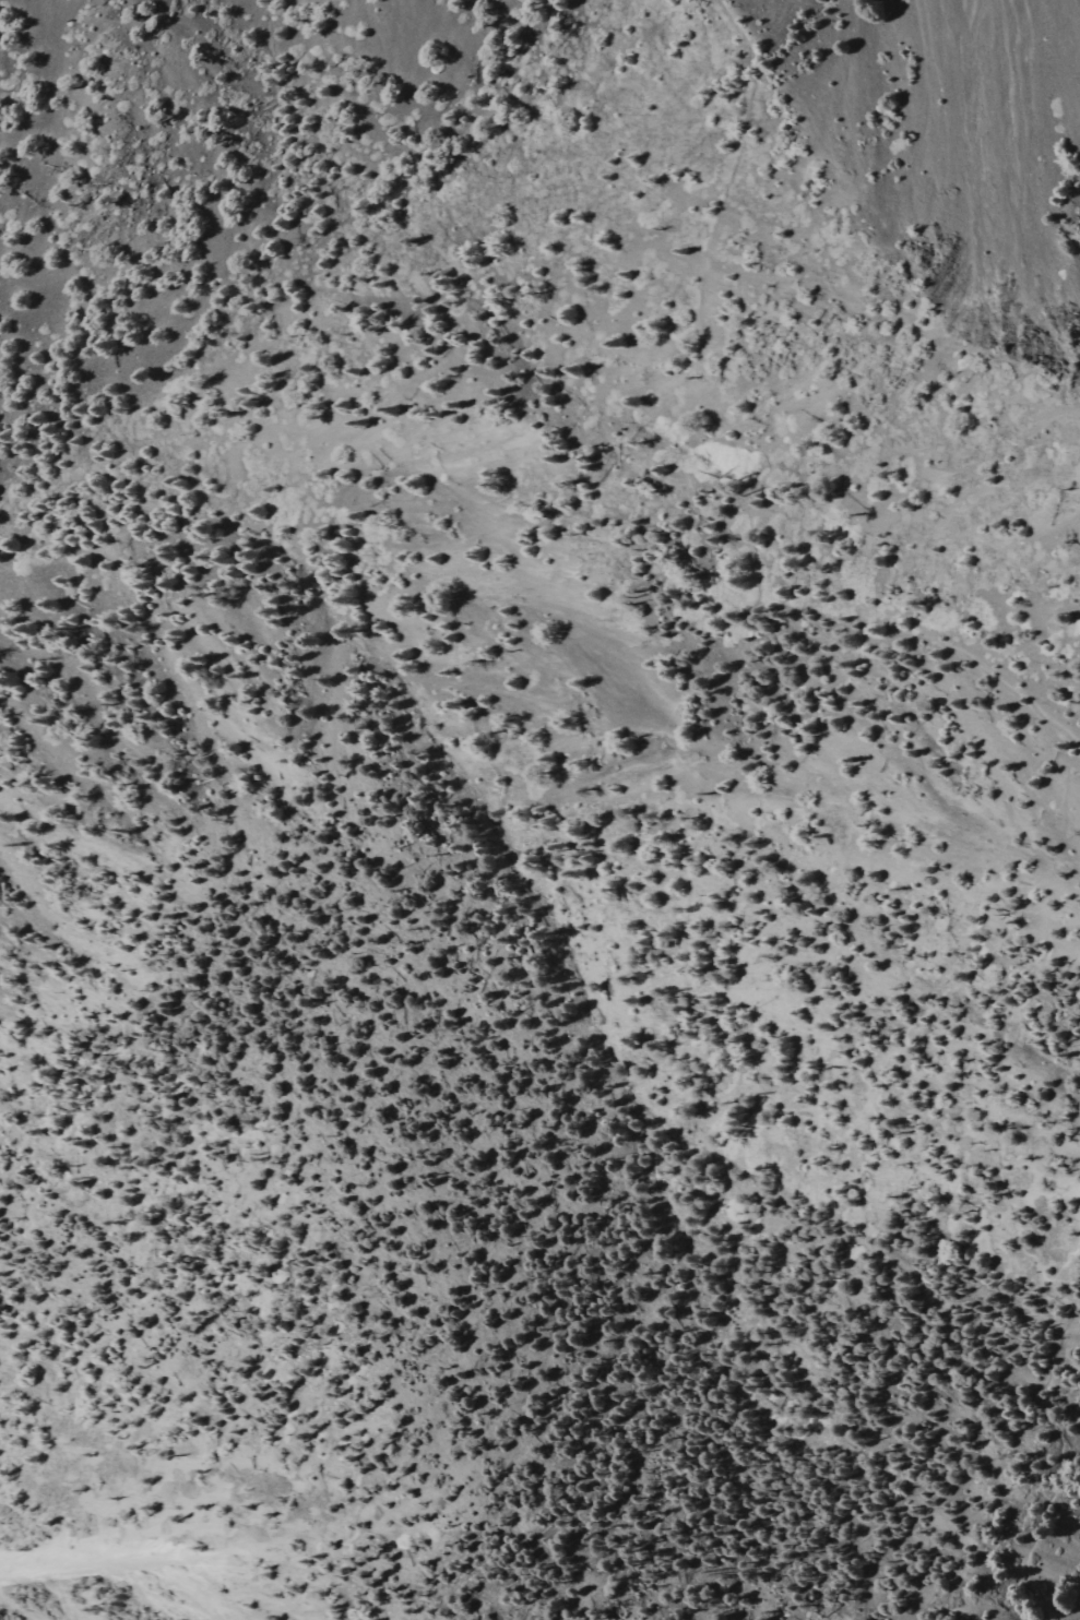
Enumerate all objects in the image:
road: (866, 866)
road: (1065, 1266)

